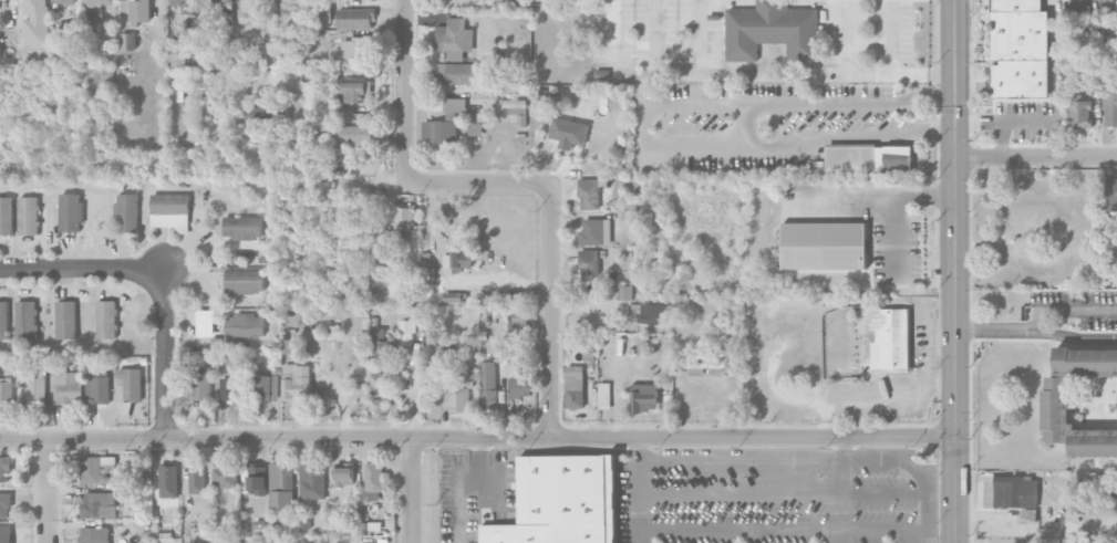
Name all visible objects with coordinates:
building: (65, 1)
building: (94, 6)
building: (186, 6)
building: (218, 6)
building: (288, 6)
building: (246, 9)
building: (139, 10)
building: (355, 17)
building: (35, 22)
building: (70, 29)
building: (773, 30)
road: (653, 31)
road: (699, 31)
road: (612, 32)
building: (454, 35)
road: (846, 36)
road: (891, 36)
building: (127, 41)
road: (269, 43)
building: (353, 48)
building: (1020, 49)
building: (178, 58)
building: (458, 73)
road: (902, 74)
building: (1093, 81)
building: (511, 85)
building: (355, 91)
building: (545, 94)
building: (454, 107)
building: (1110, 108)
building: (1080, 112)
building: (270, 113)
road: (640, 125)
road: (744, 127)
building: (474, 128)
building: (439, 132)
building: (568, 132)
building: (353, 135)
road: (1036, 155)
building: (869, 157)
road: (404, 161)
road: (877, 189)
building: (589, 194)
building: (1111, 194)
building: (71, 211)
building: (170, 211)
building: (127, 212)
building: (6, 215)
building: (29, 215)
building: (404, 218)
building: (1037, 224)
building: (242, 227)
road: (896, 231)
building: (596, 232)
building: (824, 246)
building: (386, 259)
building: (457, 260)
building: (589, 264)
road: (82, 269)
road: (955, 271)
building: (245, 281)
building: (625, 292)
building: (453, 296)
road: (550, 310)
road: (1065, 310)
building: (653, 313)
building: (66, 319)
building: (106, 319)
building: (3, 320)
building: (25, 320)
building: (245, 325)
road: (1036, 330)
building: (406, 331)
building: (891, 338)
building: (380, 342)
building: (640, 345)
building: (288, 348)
road: (166, 354)
building: (443, 354)
building: (701, 361)
building: (1086, 362)
building: (695, 372)
building: (377, 378)
building: (297, 382)
building: (201, 383)
building: (488, 385)
building: (520, 386)
building: (575, 386)
building: (34, 387)
building: (68, 387)
building: (265, 387)
building: (228, 388)
building: (461, 388)
building: (97, 389)
building: (6, 390)
building: (604, 395)
building: (644, 397)
building: (1055, 409)
traffic signals: (955, 435)
road: (477, 437)
building: (1093, 442)
road: (738, 459)
building: (4, 469)
building: (344, 473)
building: (225, 476)
building: (373, 476)
building: (142, 477)
building: (197, 478)
building: (255, 479)
building: (312, 480)
building: (1102, 480)
building: (168, 481)
road: (483, 483)
building: (281, 484)
road: (459, 487)
road: (635, 489)
road: (842, 489)
road: (50, 491)
road: (410, 491)
building: (1007, 491)
road: (738, 494)
building: (562, 501)
building: (4, 504)
building: (99, 504)
building: (279, 524)
road: (738, 526)
building: (6, 533)
building: (95, 534)
building: (1047, 541)
building: (1079, 542)

